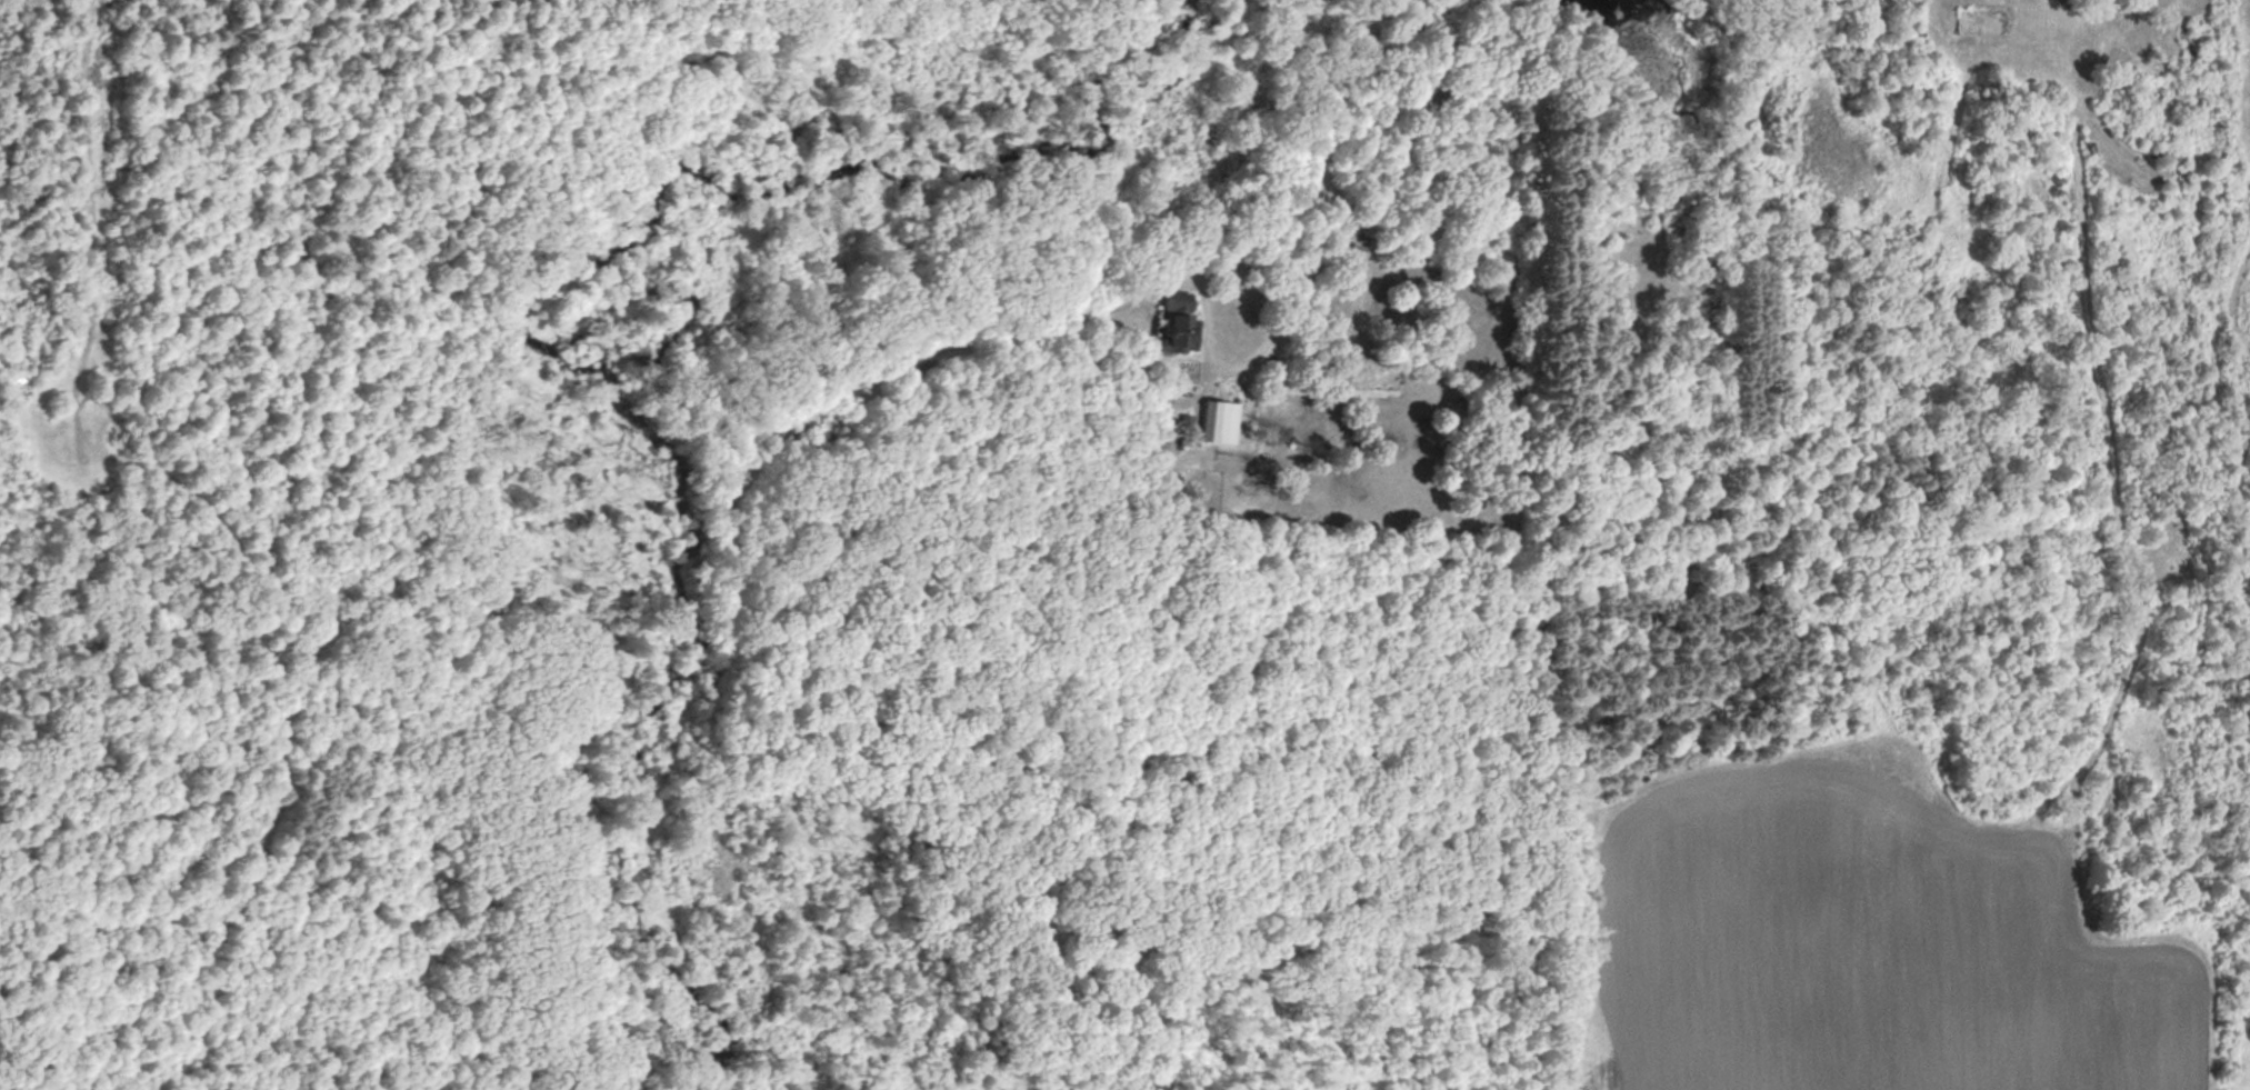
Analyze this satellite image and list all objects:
building: (2168, 158)
road: (1321, 170)
building: (1177, 322)
road: (1203, 340)

